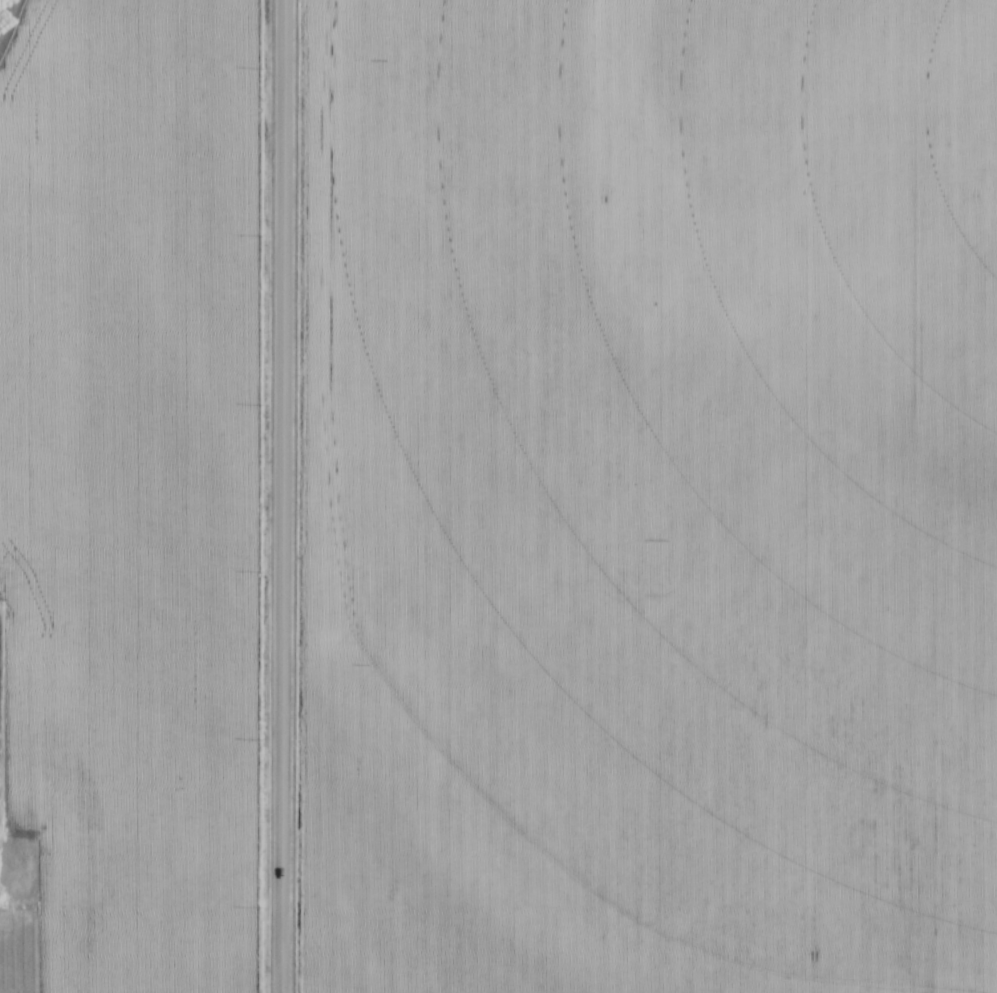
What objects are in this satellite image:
crop: (133, 484)
road: (285, 496)
crop: (650, 496)

